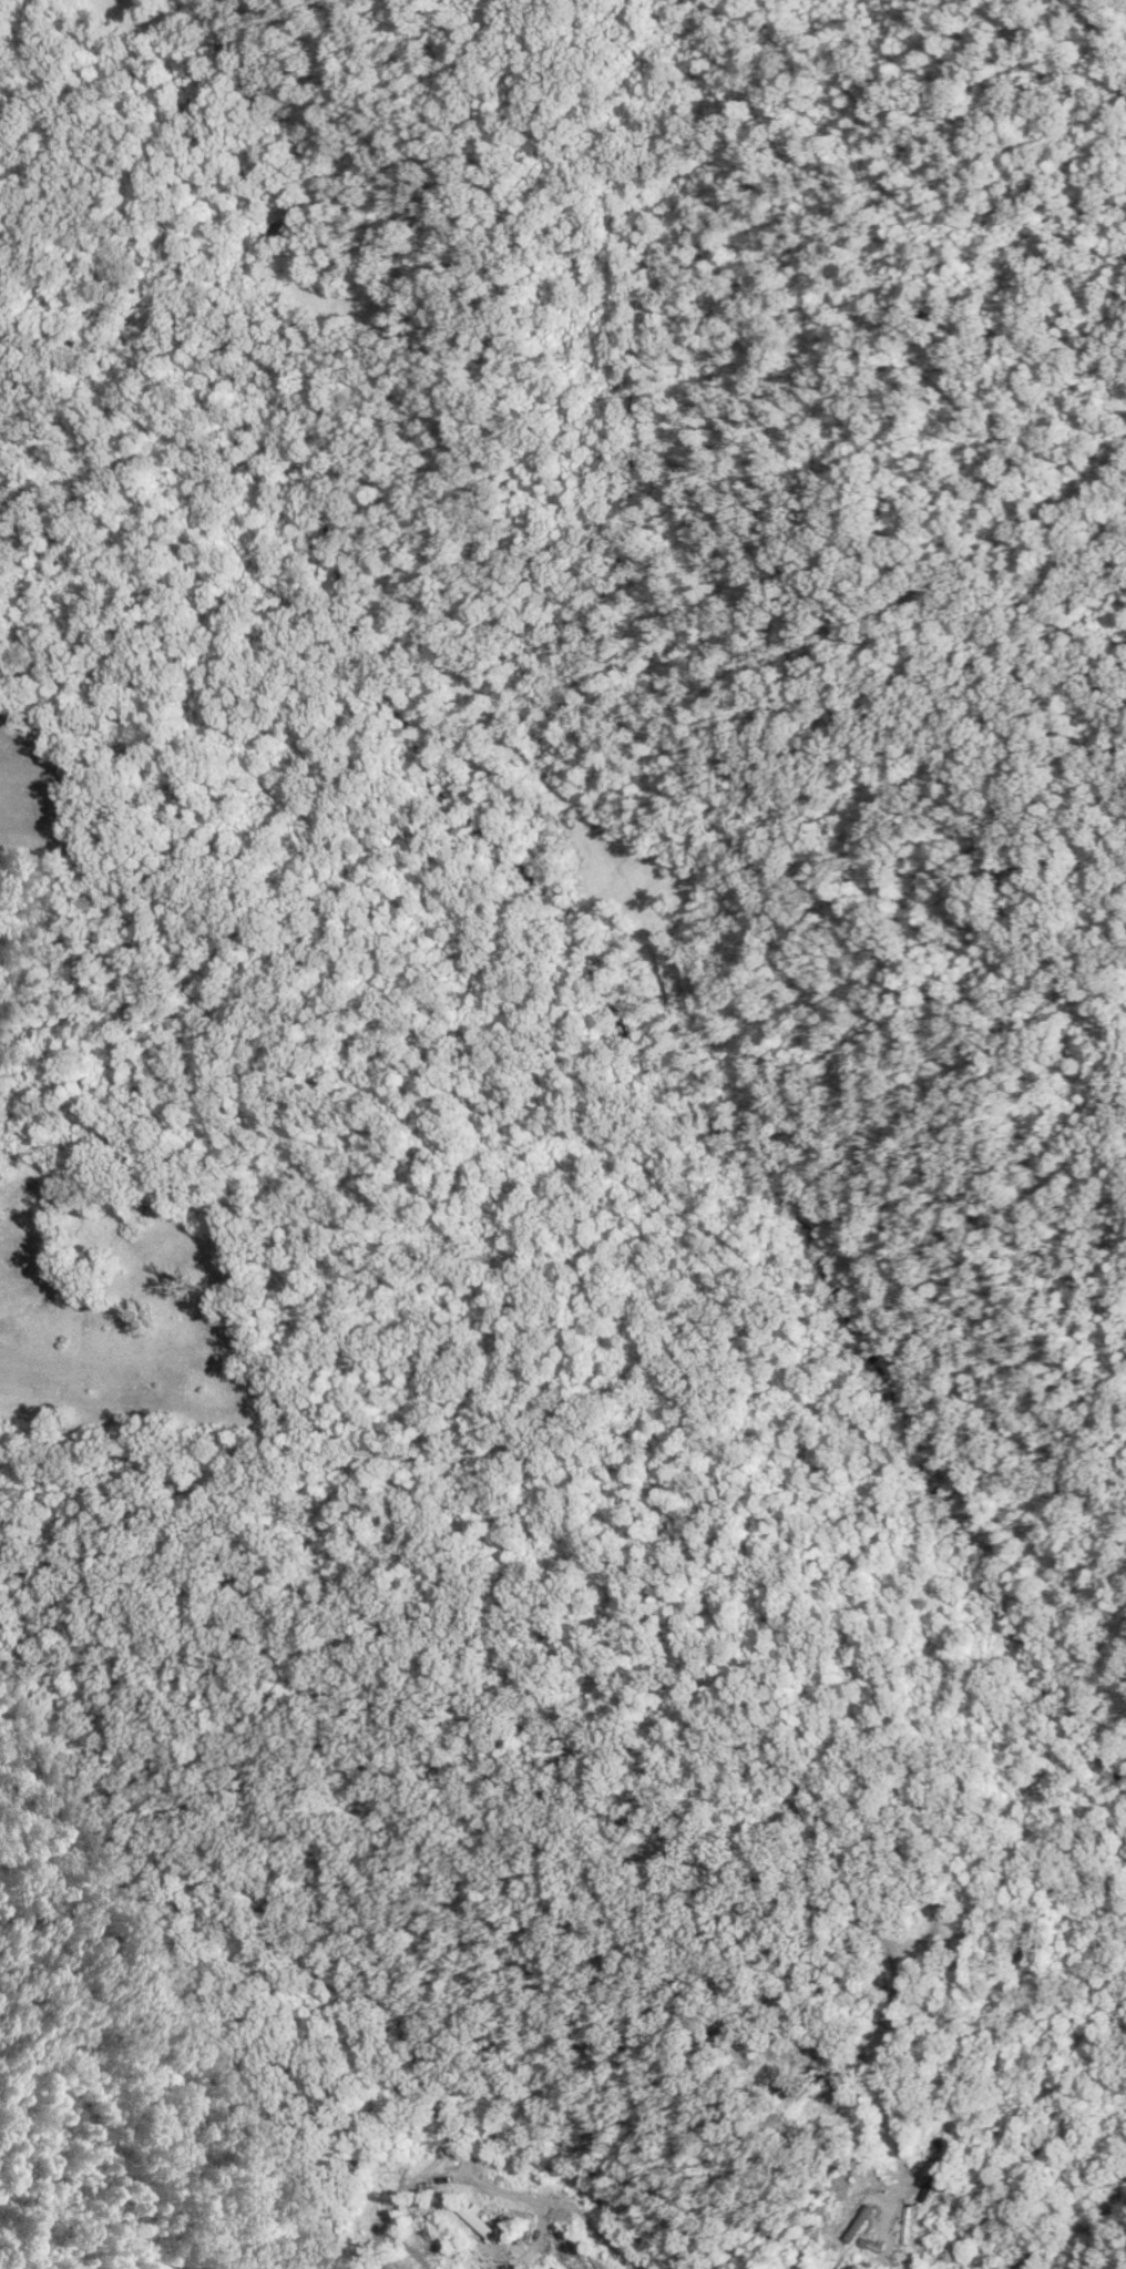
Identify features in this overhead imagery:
building: (484, 2222)
road: (522, 2262)

